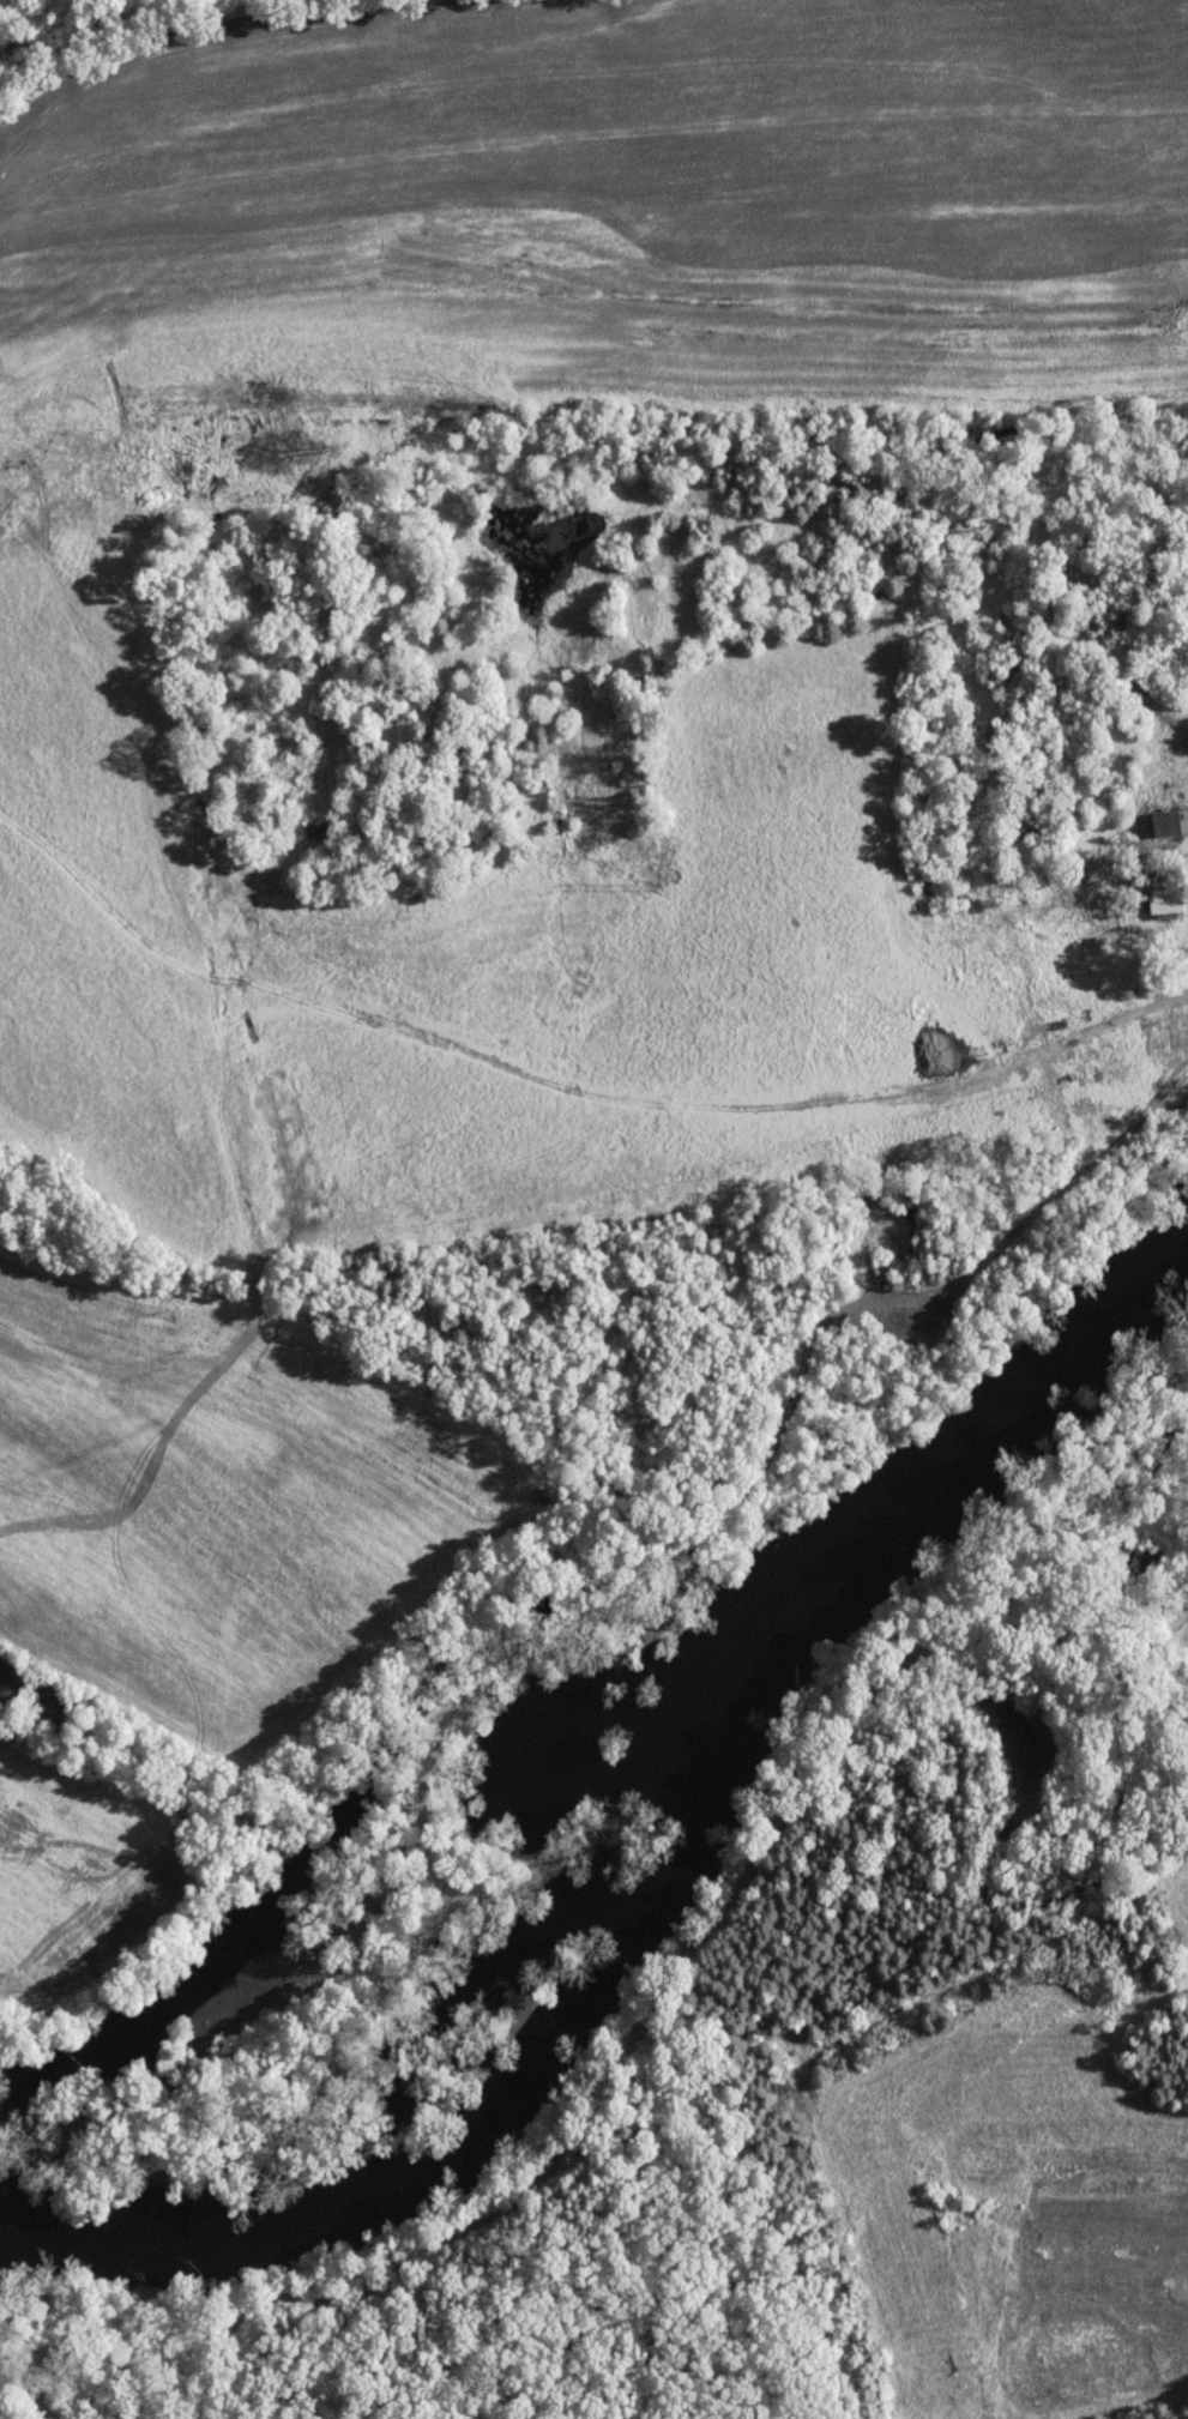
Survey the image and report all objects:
building: (1158, 824)
building: (1160, 901)
road: (1110, 1020)

